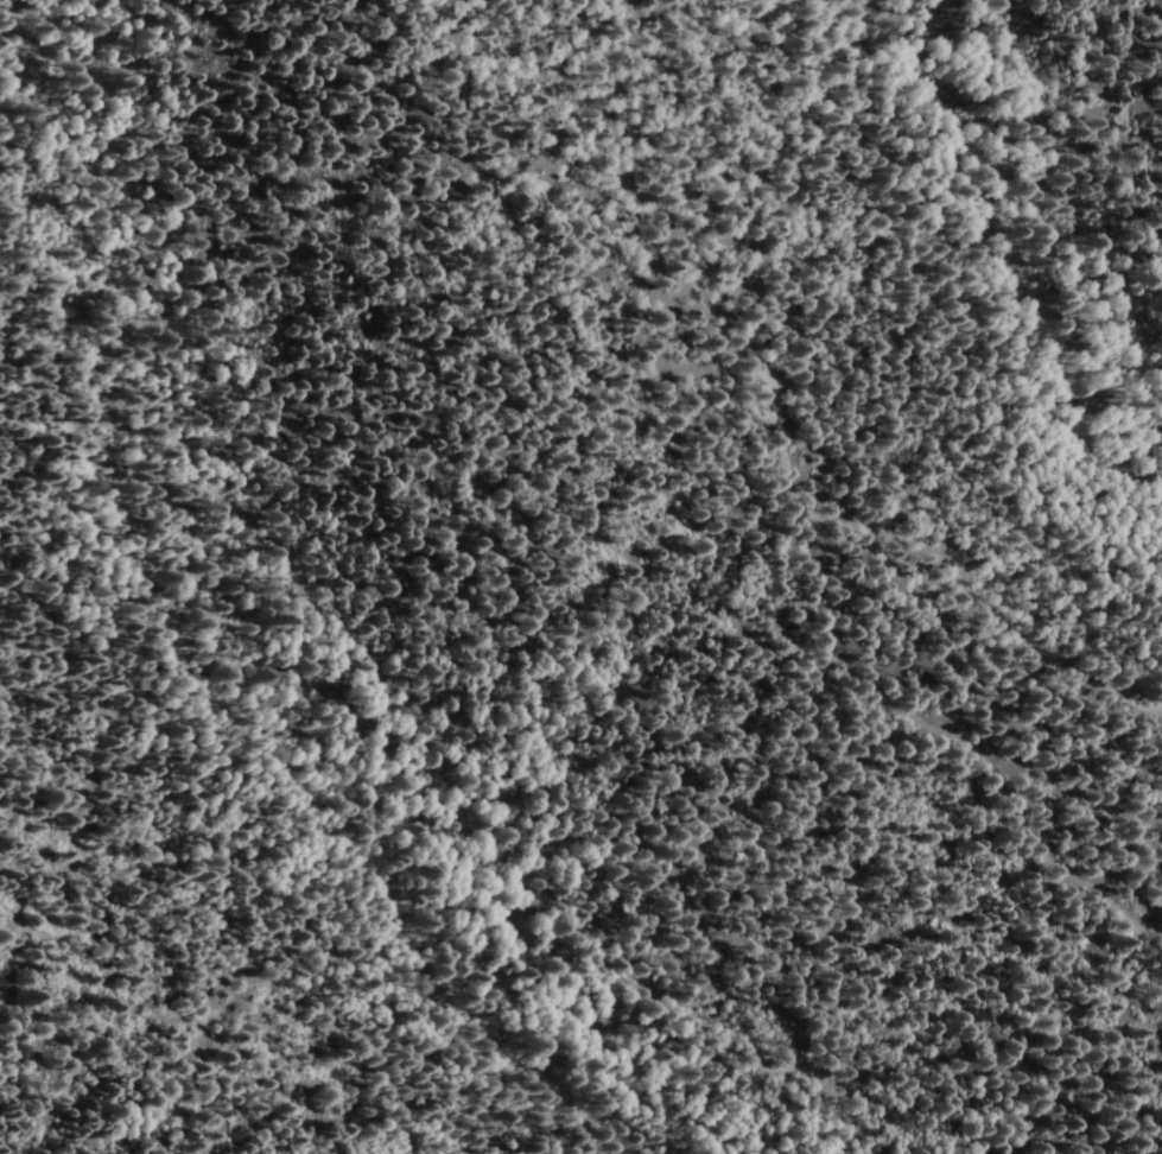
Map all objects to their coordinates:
road: (660, 192)
road: (982, 608)
road: (904, 714)

